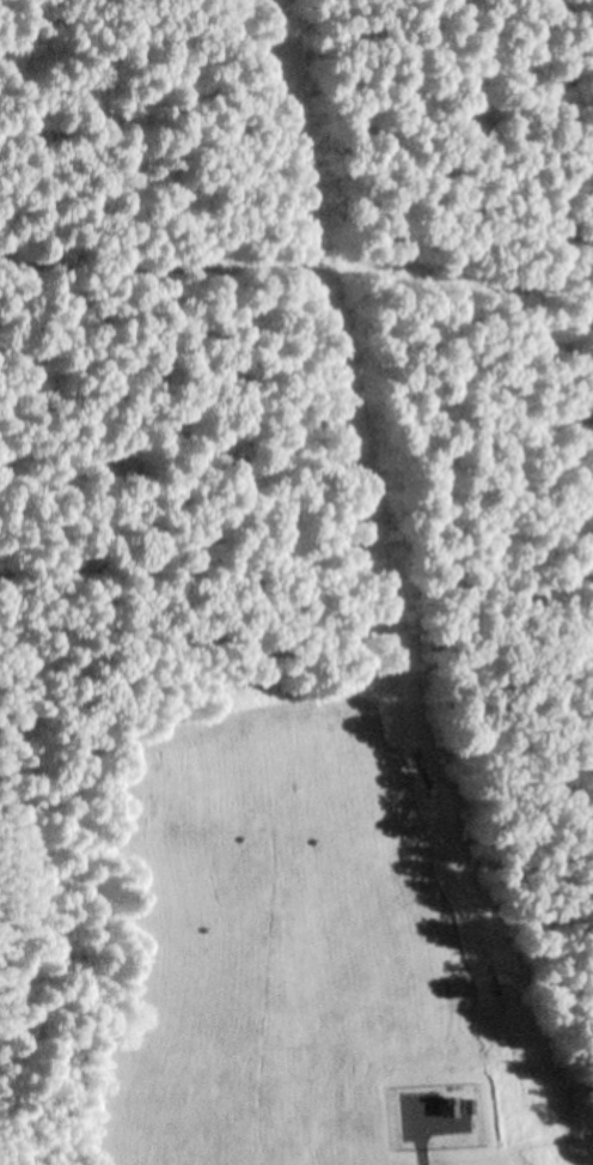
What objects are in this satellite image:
building: (450, 1109)

